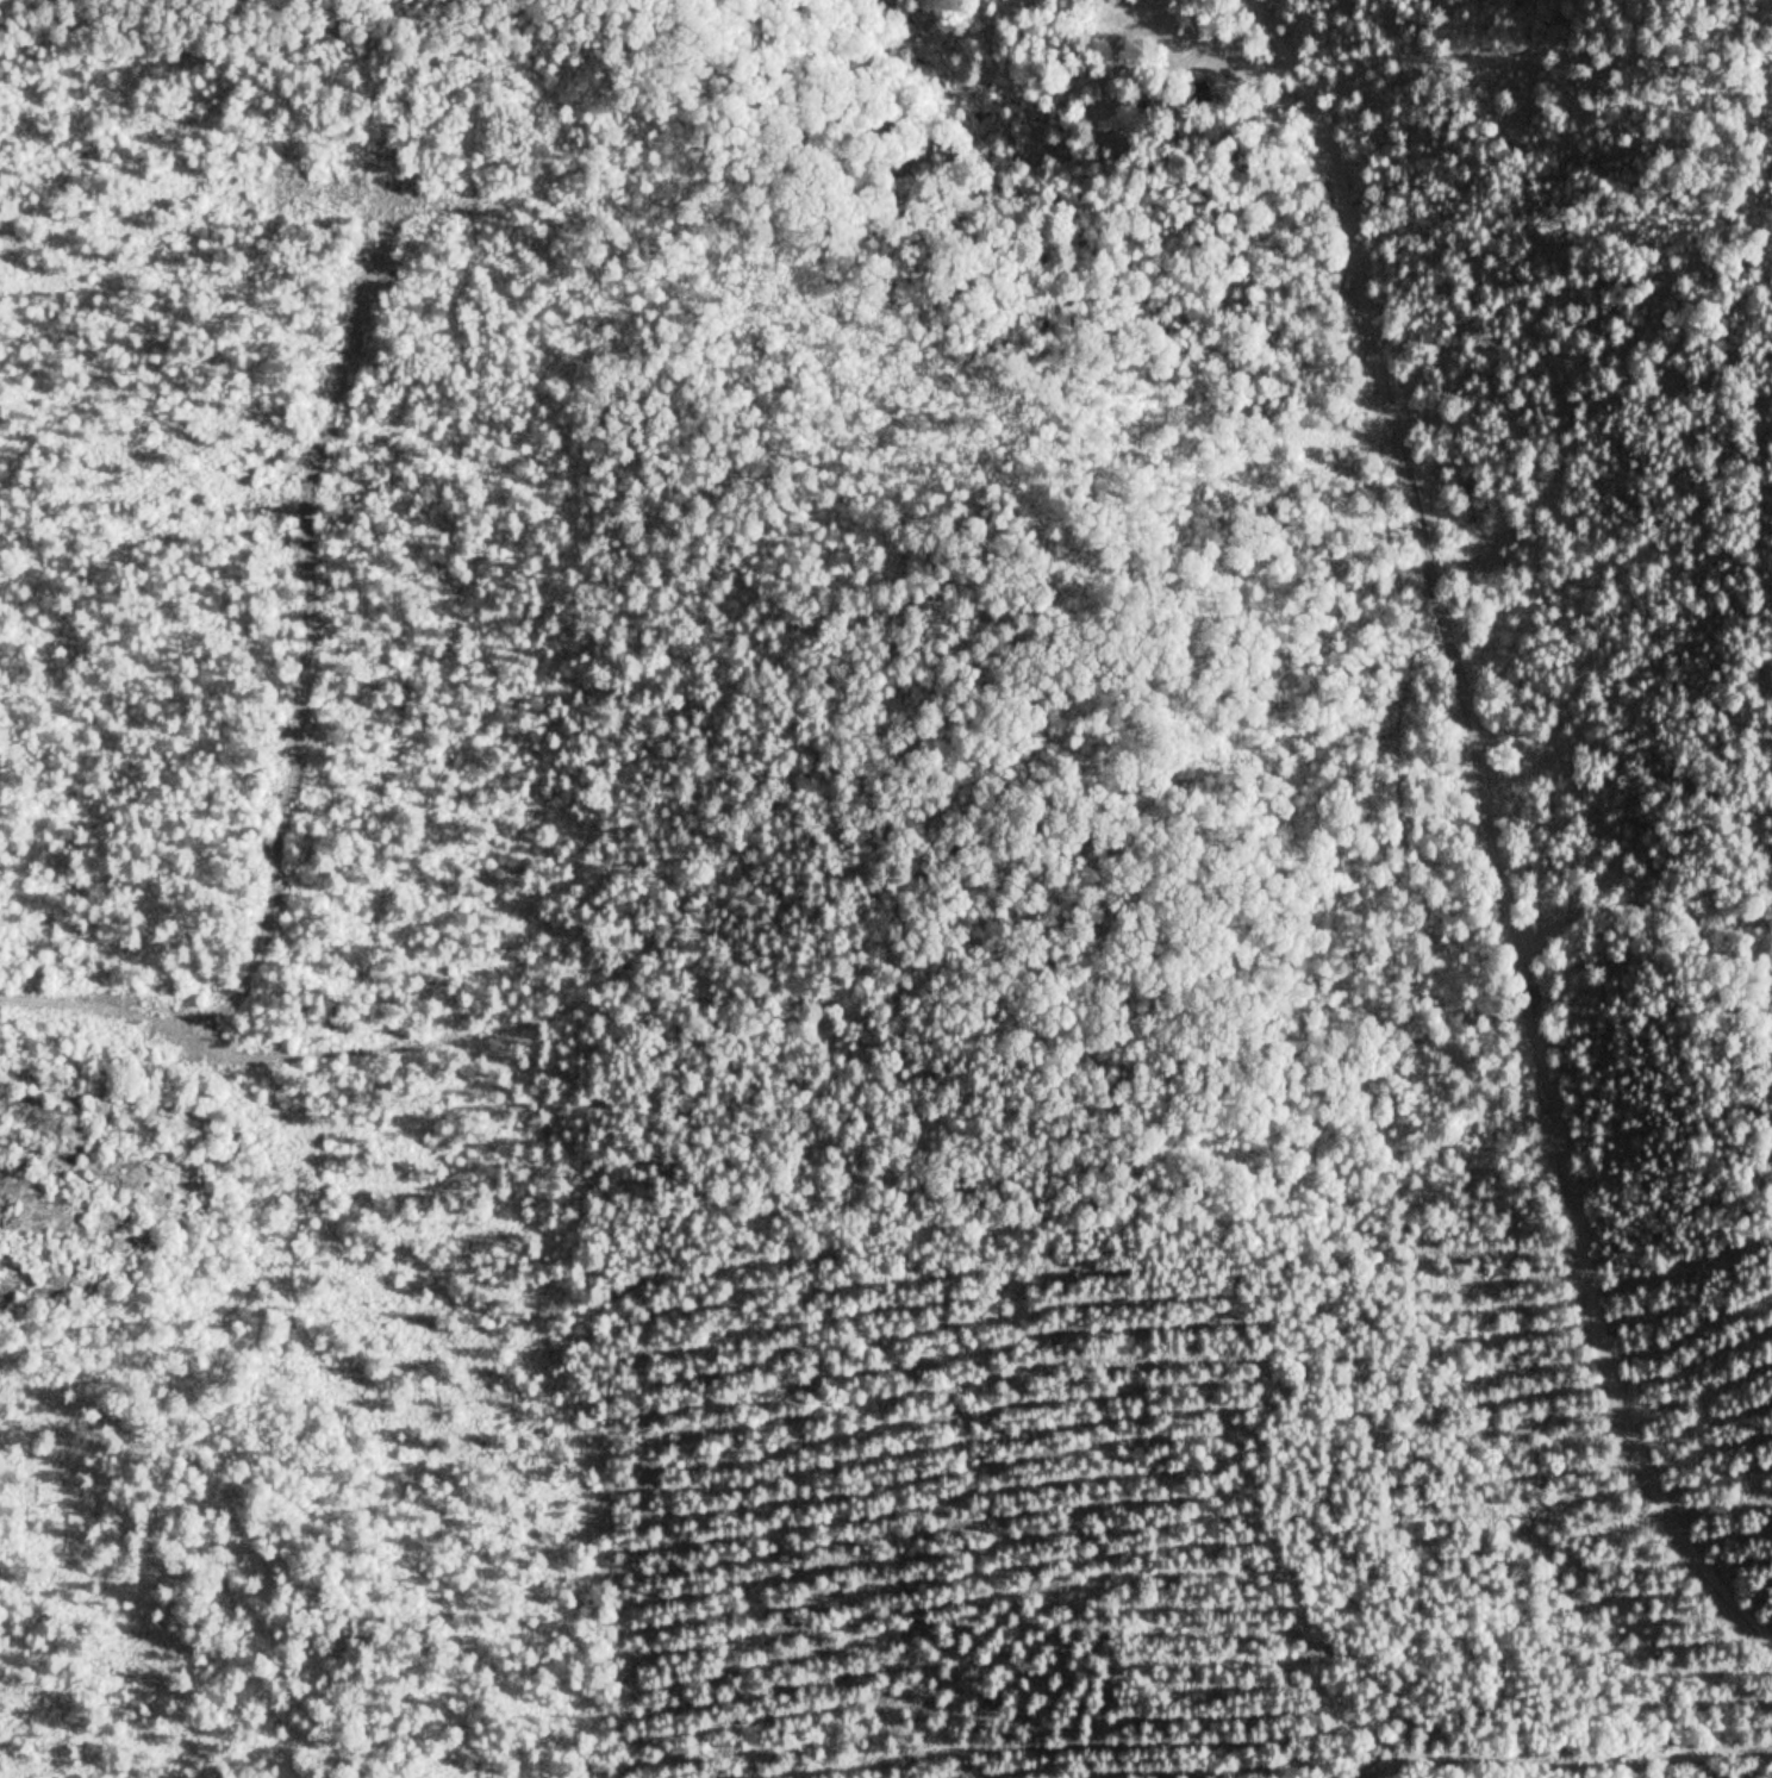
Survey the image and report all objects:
road: (1490, 838)
road: (1643, 921)
road: (1567, 1758)

